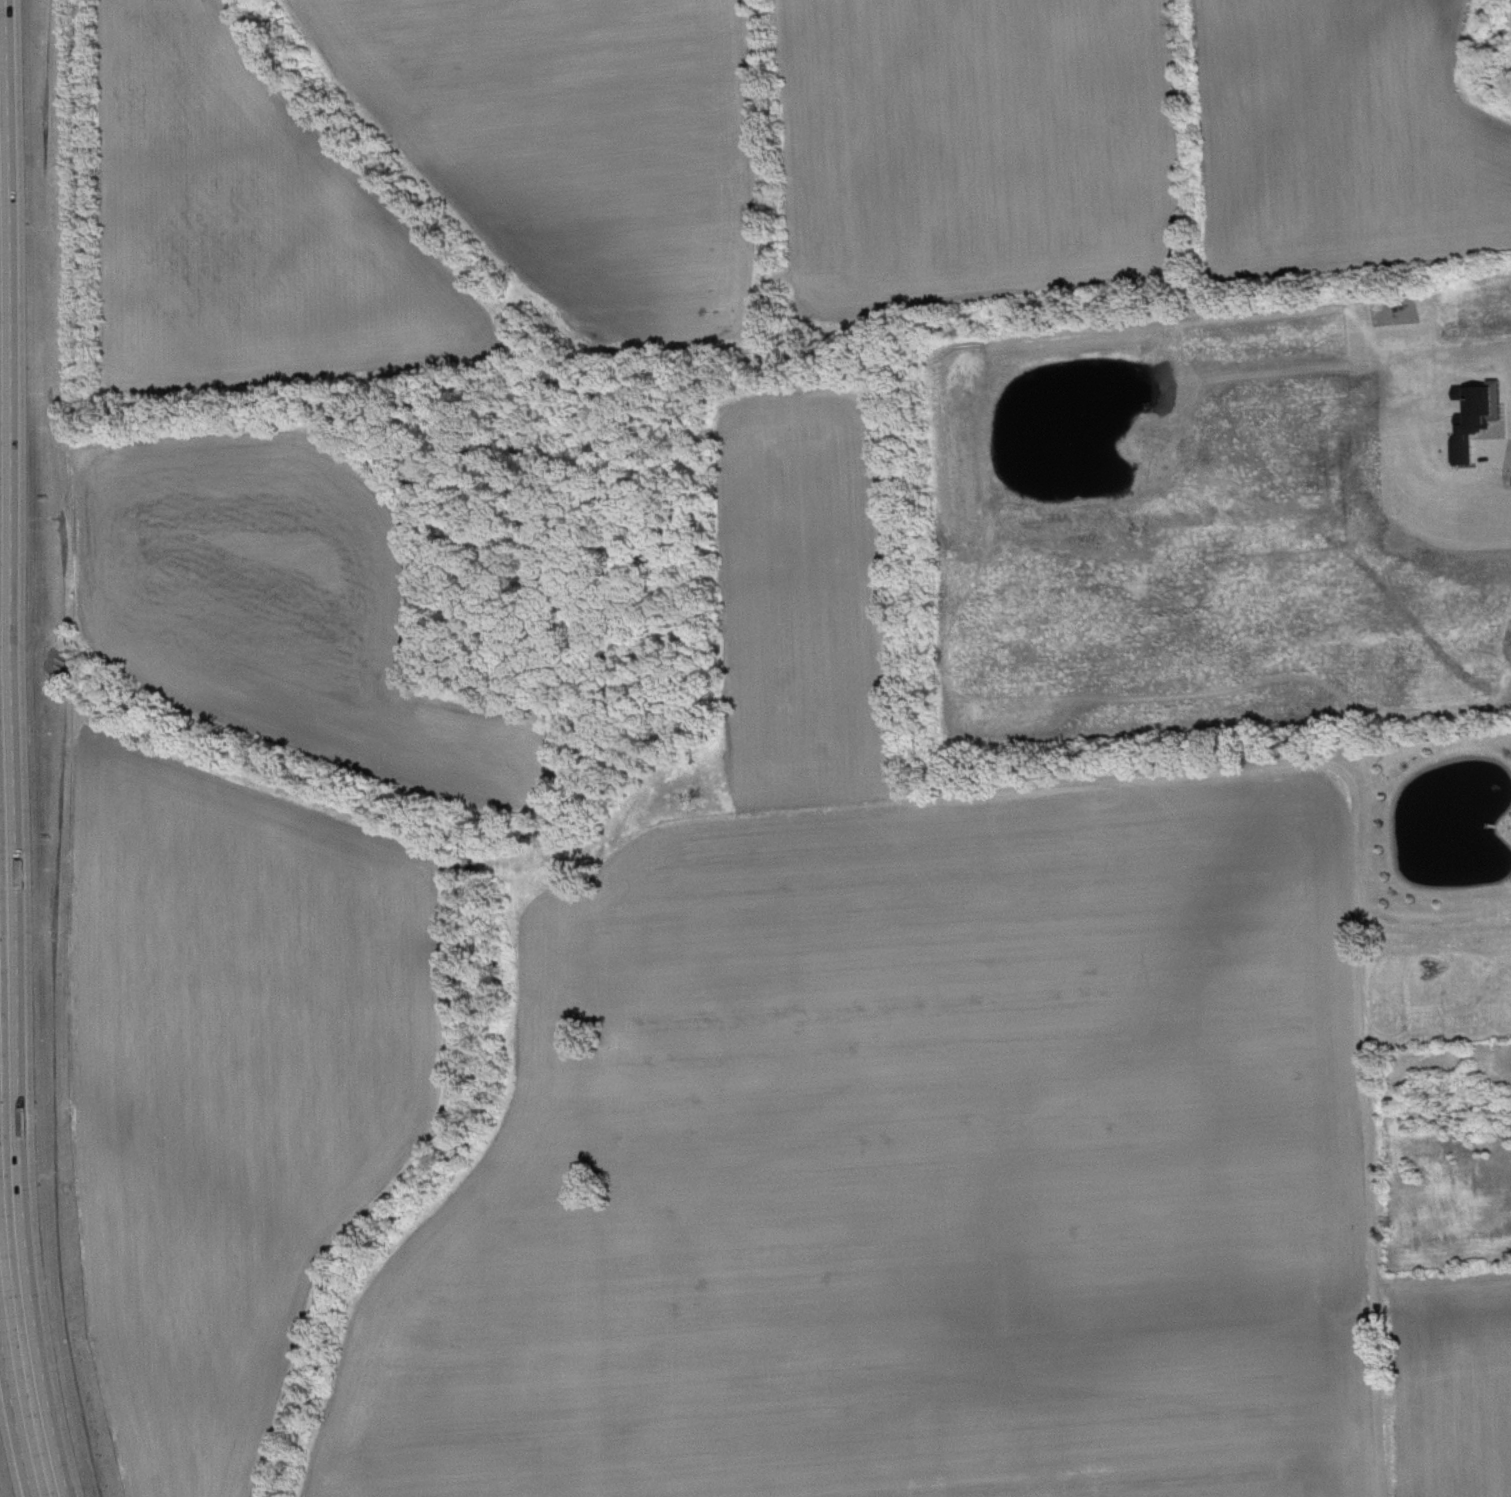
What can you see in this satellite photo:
building: (1482, 420)
road: (1508, 452)
road: (14, 750)
road: (1355, 914)
road: (17, 1381)

